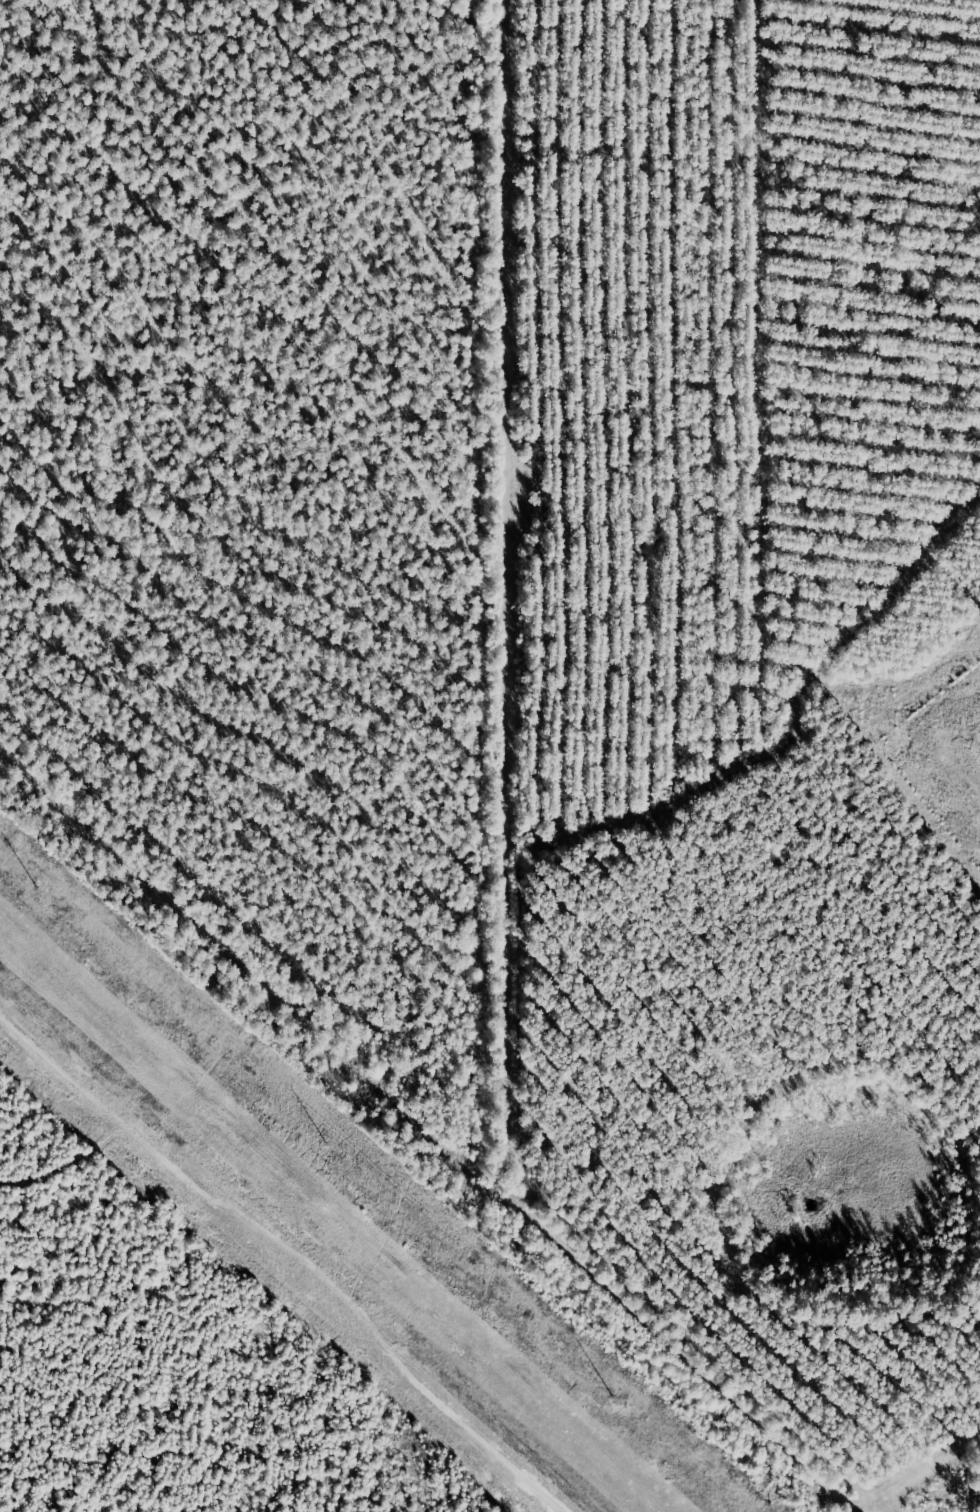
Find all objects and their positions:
road: (525, 861)
power tower: (47, 890)
power tower: (336, 1147)
power tower: (619, 1401)

